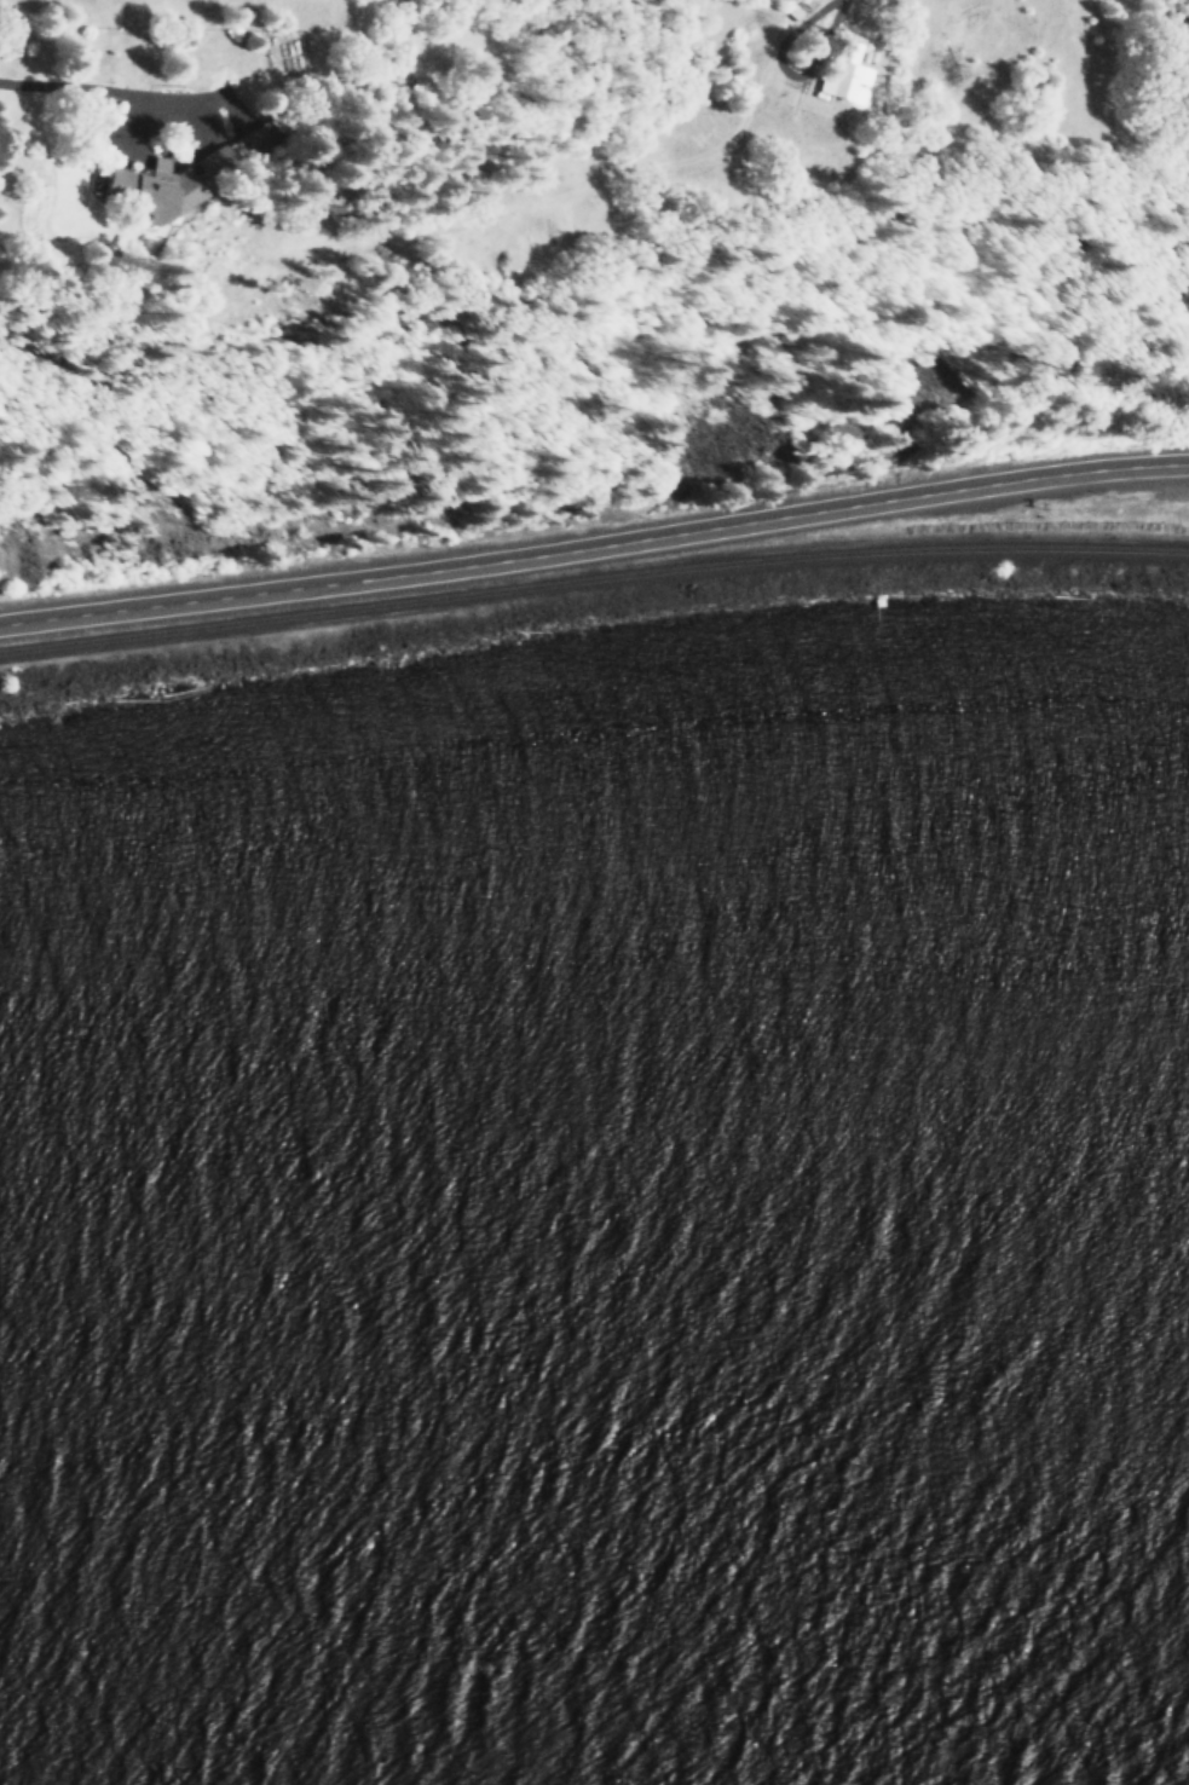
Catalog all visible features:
building: (847, 76)
building: (252, 139)
building: (162, 183)
road: (594, 544)
railway: (591, 574)

